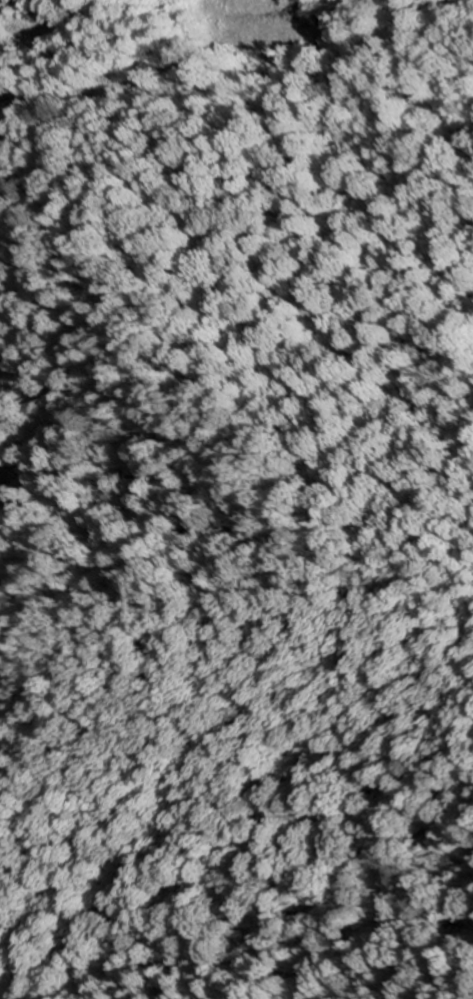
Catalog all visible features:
building: (9, 1)

